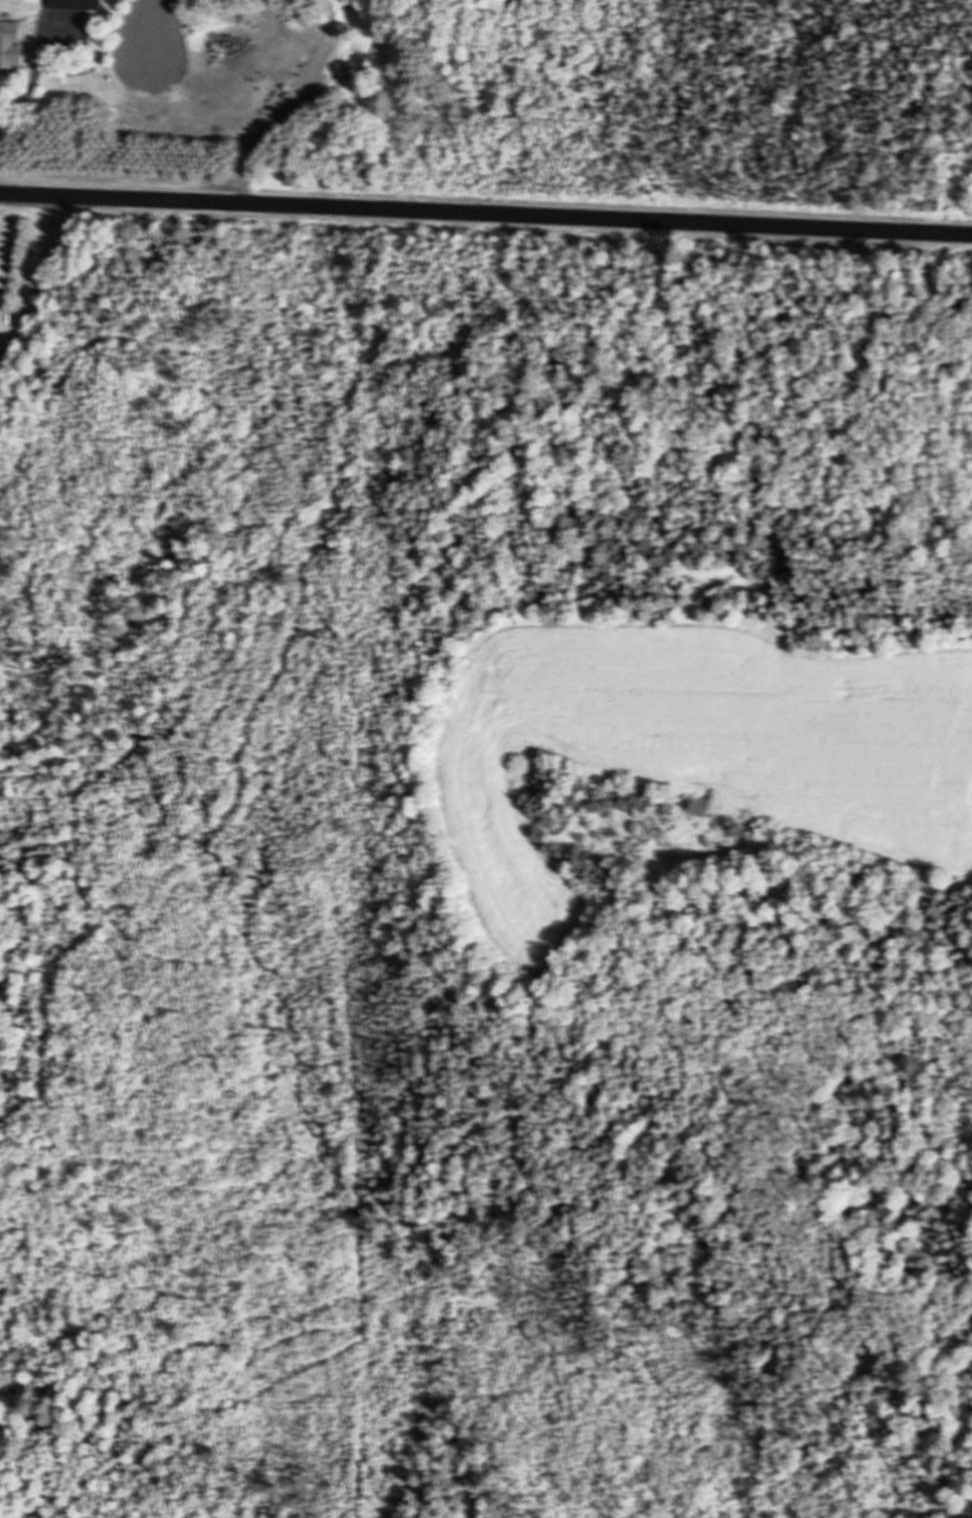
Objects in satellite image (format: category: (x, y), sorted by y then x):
building: (83, 5)
building: (14, 32)
road: (485, 215)

